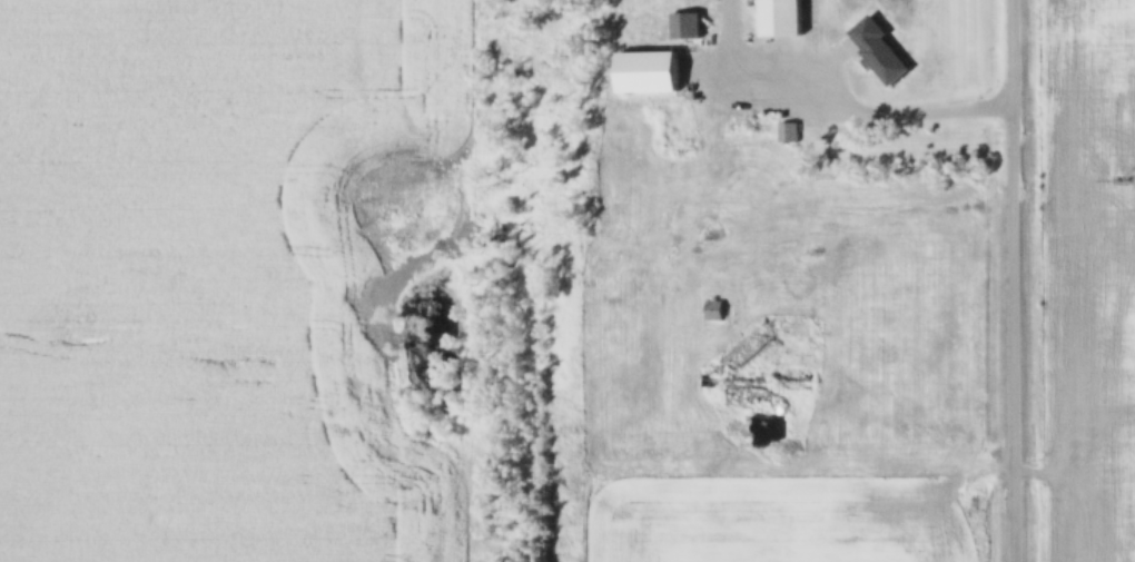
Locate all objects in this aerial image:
building: (780, 18)
building: (684, 27)
building: (647, 73)
building: (843, 86)
road: (837, 105)
building: (788, 132)
power tower: (1122, 184)
road: (1017, 280)
building: (713, 310)

